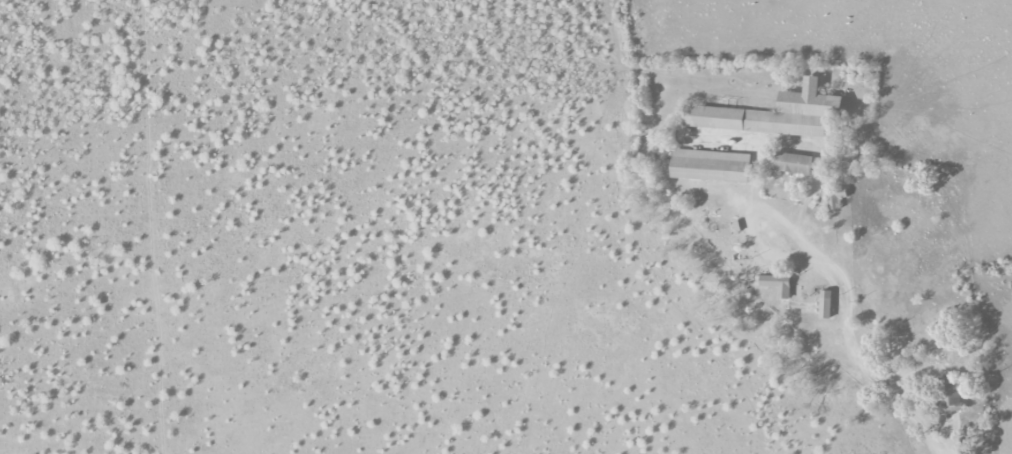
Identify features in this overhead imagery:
building: (772, 114)
building: (791, 164)
building: (710, 166)
road: (751, 218)
building: (777, 285)
building: (825, 304)
road: (867, 366)

